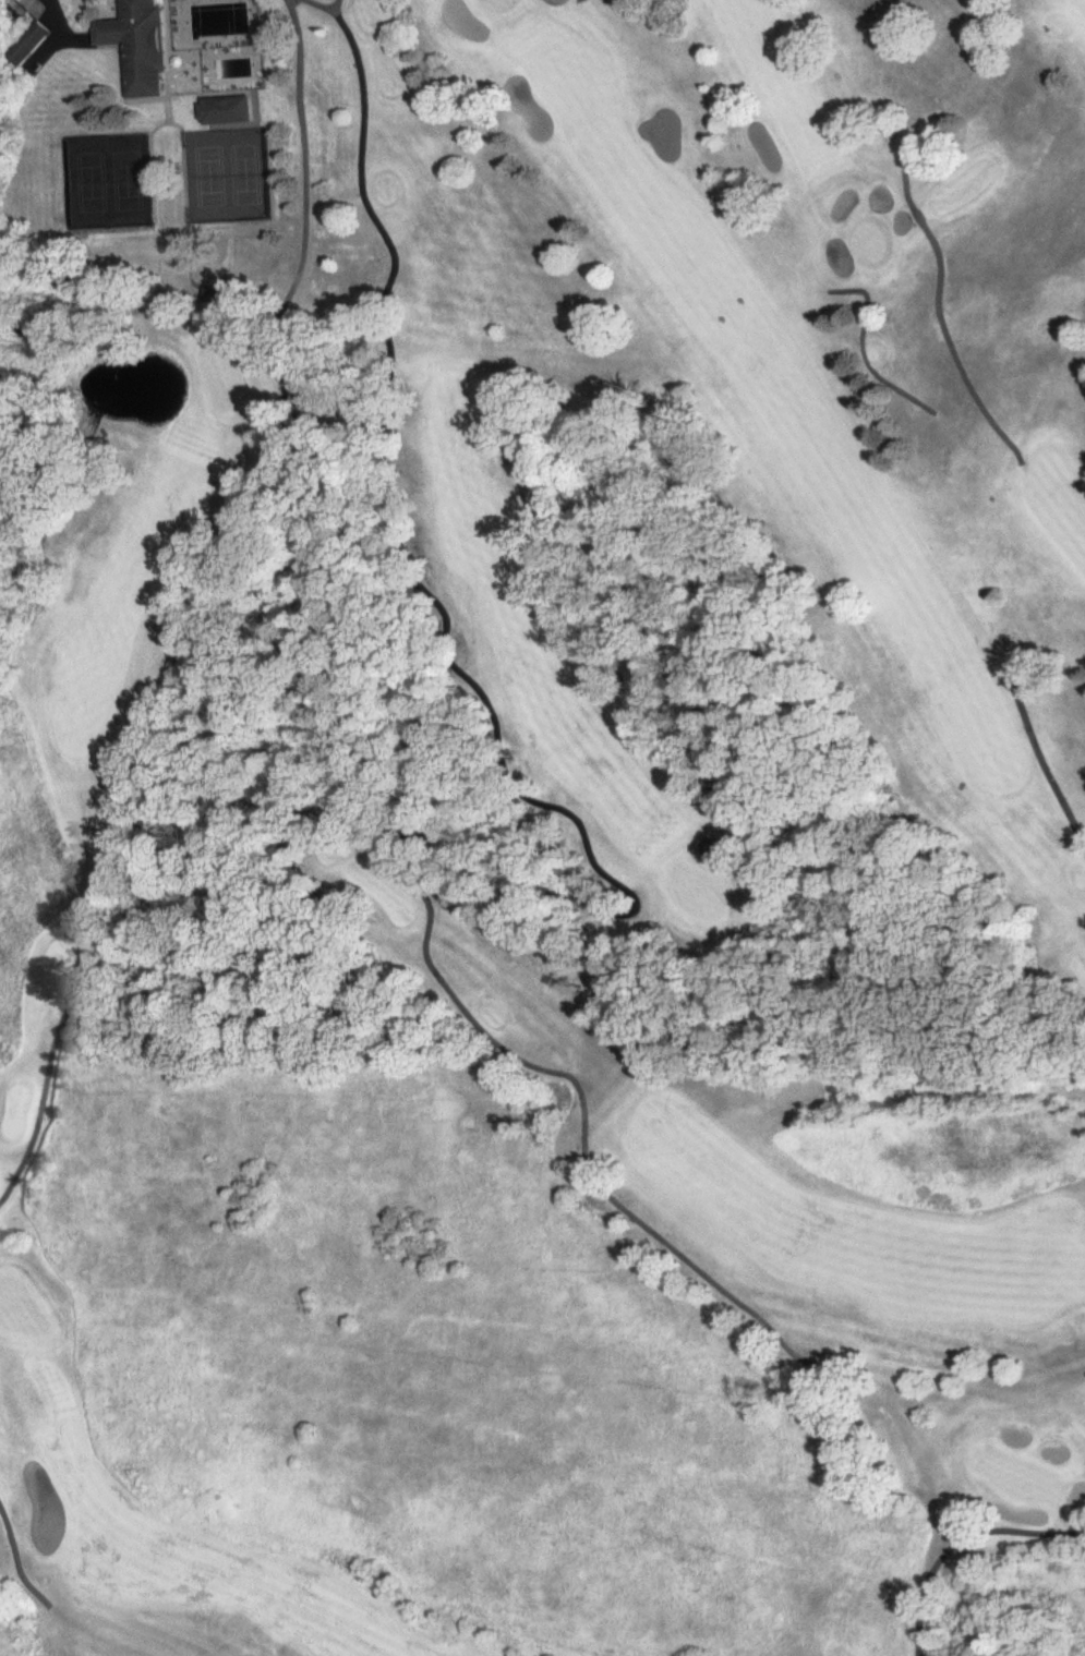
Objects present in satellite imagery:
building: (29, 45)
building: (142, 46)
building: (230, 111)
park: (225, 177)
park: (110, 183)
park: (544, 829)

